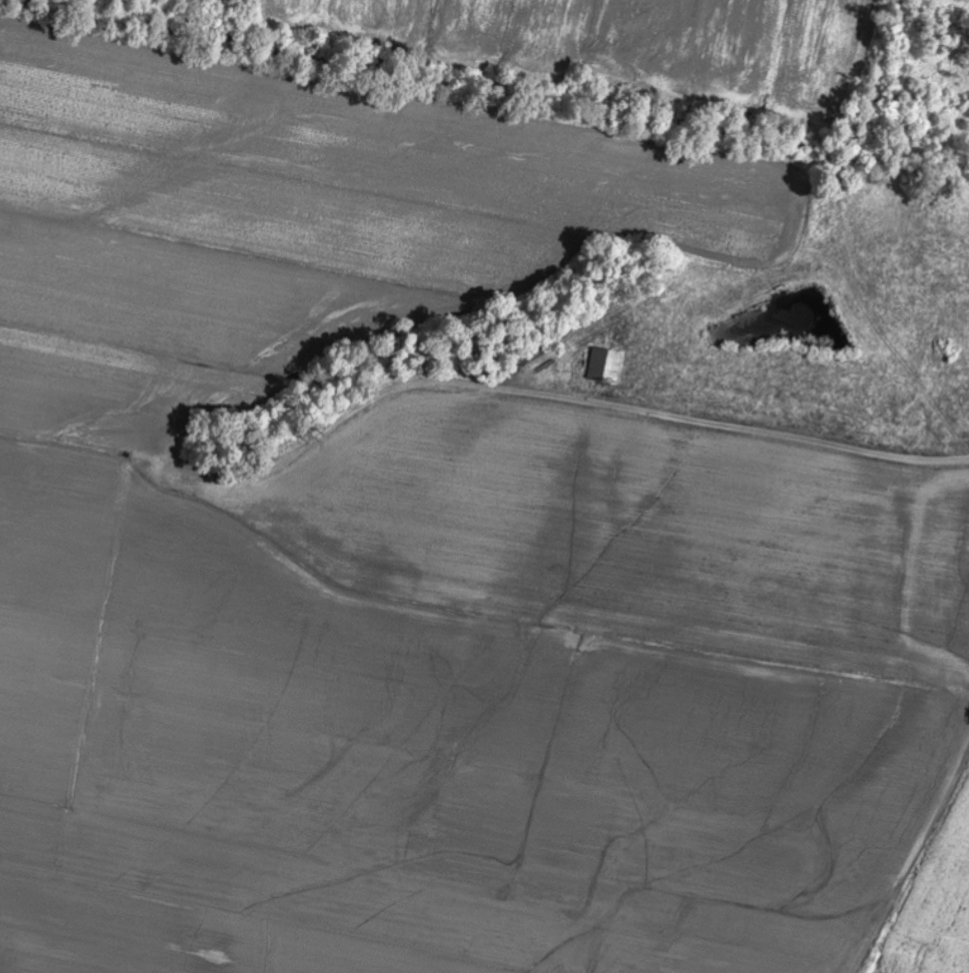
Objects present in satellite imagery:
building: (604, 366)

